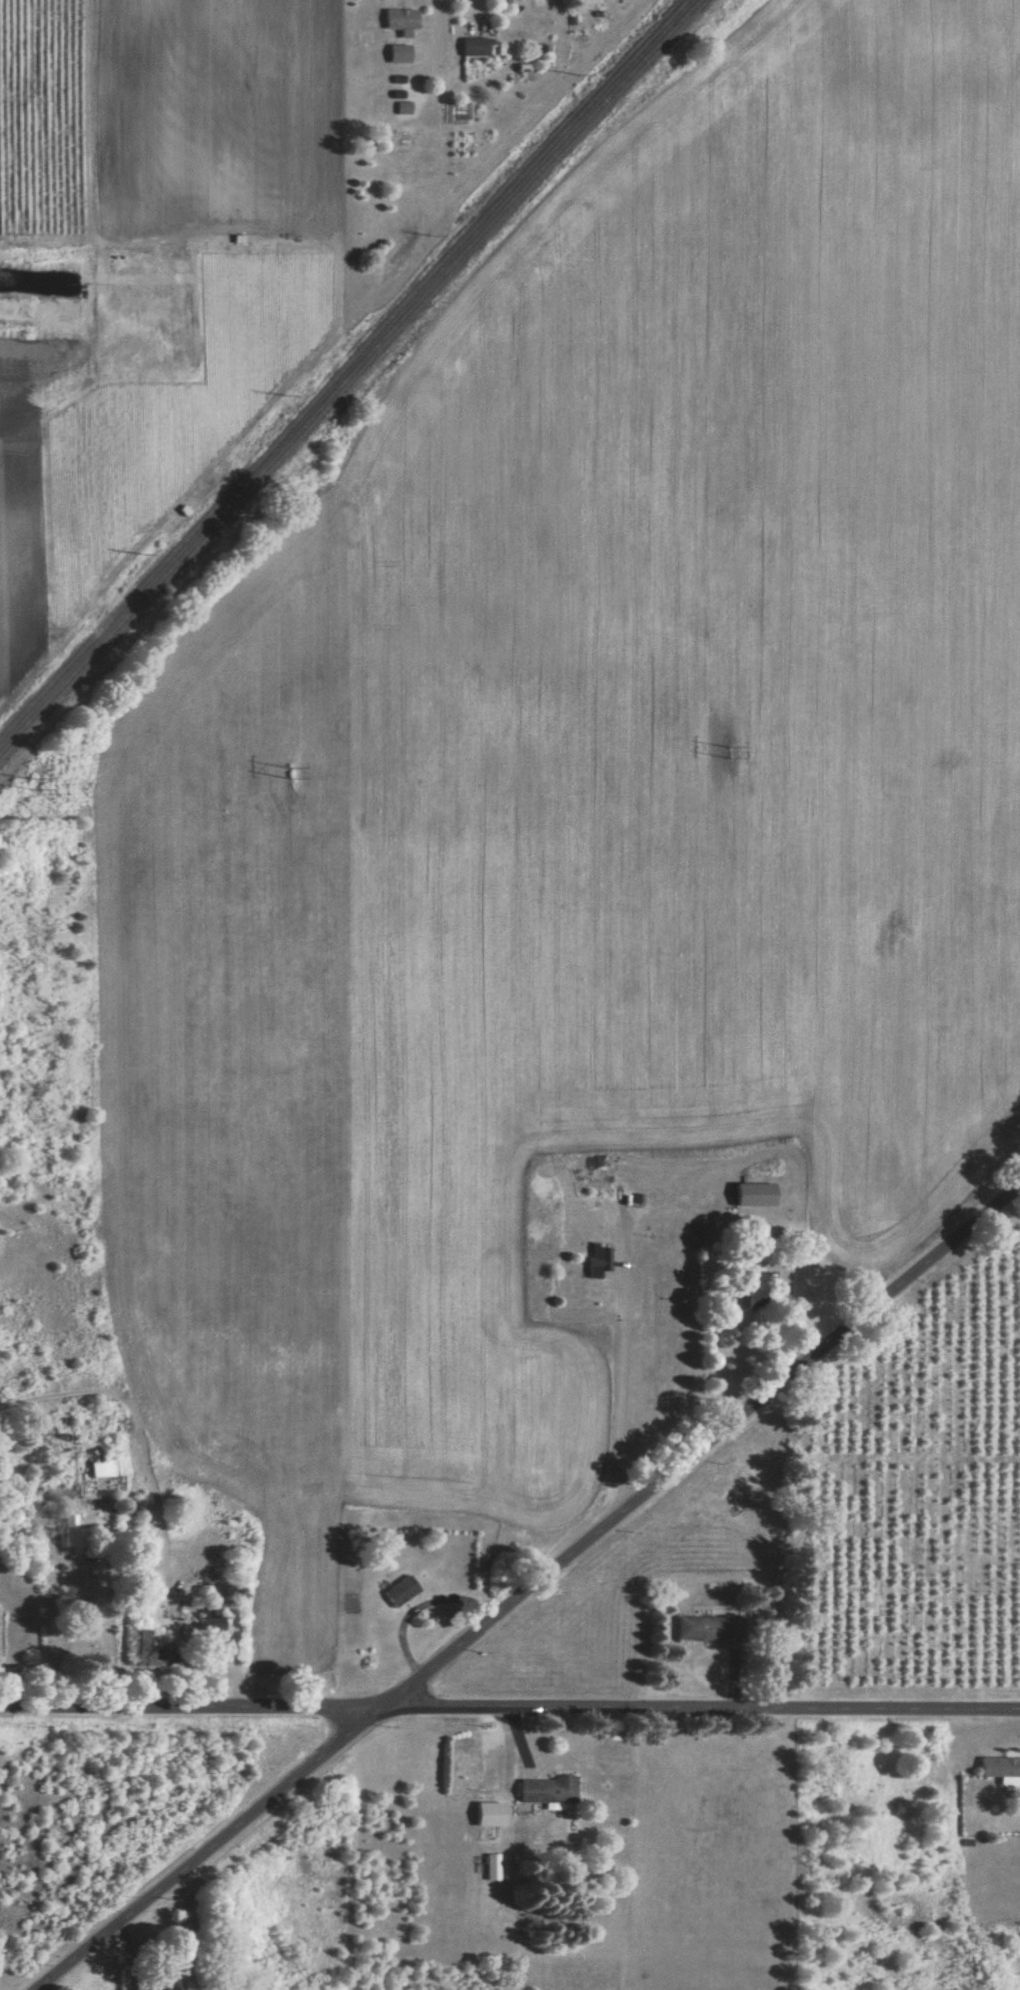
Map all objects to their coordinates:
building: (400, 21)
road: (440, 27)
building: (474, 47)
building: (398, 54)
building: (404, 108)
railway: (342, 369)
railway: (349, 376)
power tower: (736, 752)
power tower: (309, 771)
power tower: (39, 784)
building: (753, 1195)
building: (598, 1262)
road: (790, 1299)
road: (629, 1399)
building: (100, 1469)
building: (70, 1535)
road: (530, 1590)
building: (400, 1592)
road: (425, 1604)
road: (110, 1611)
building: (707, 1629)
road: (509, 1710)
building: (1002, 1770)
building: (547, 1791)
building: (488, 1815)
building: (490, 1868)
building: (164, 1985)

